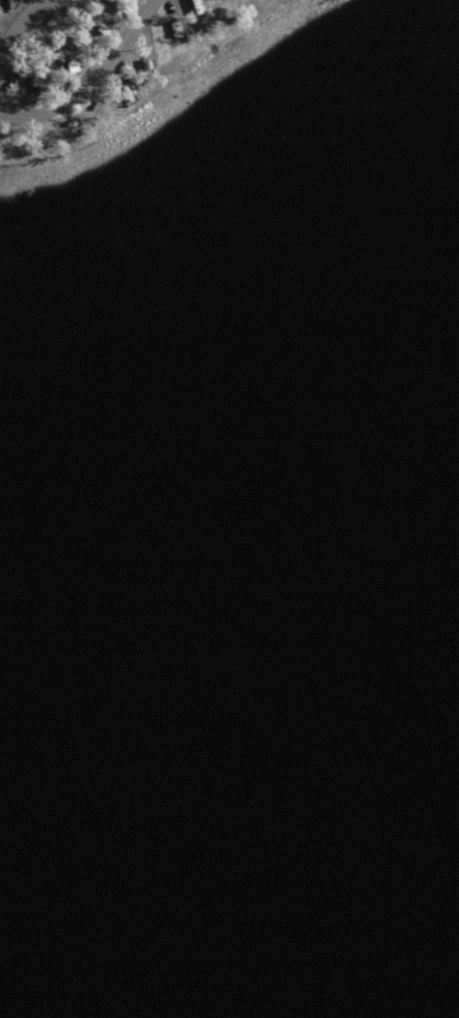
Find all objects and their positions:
building: (198, 8)
road: (17, 14)
building: (95, 25)
road: (91, 81)

